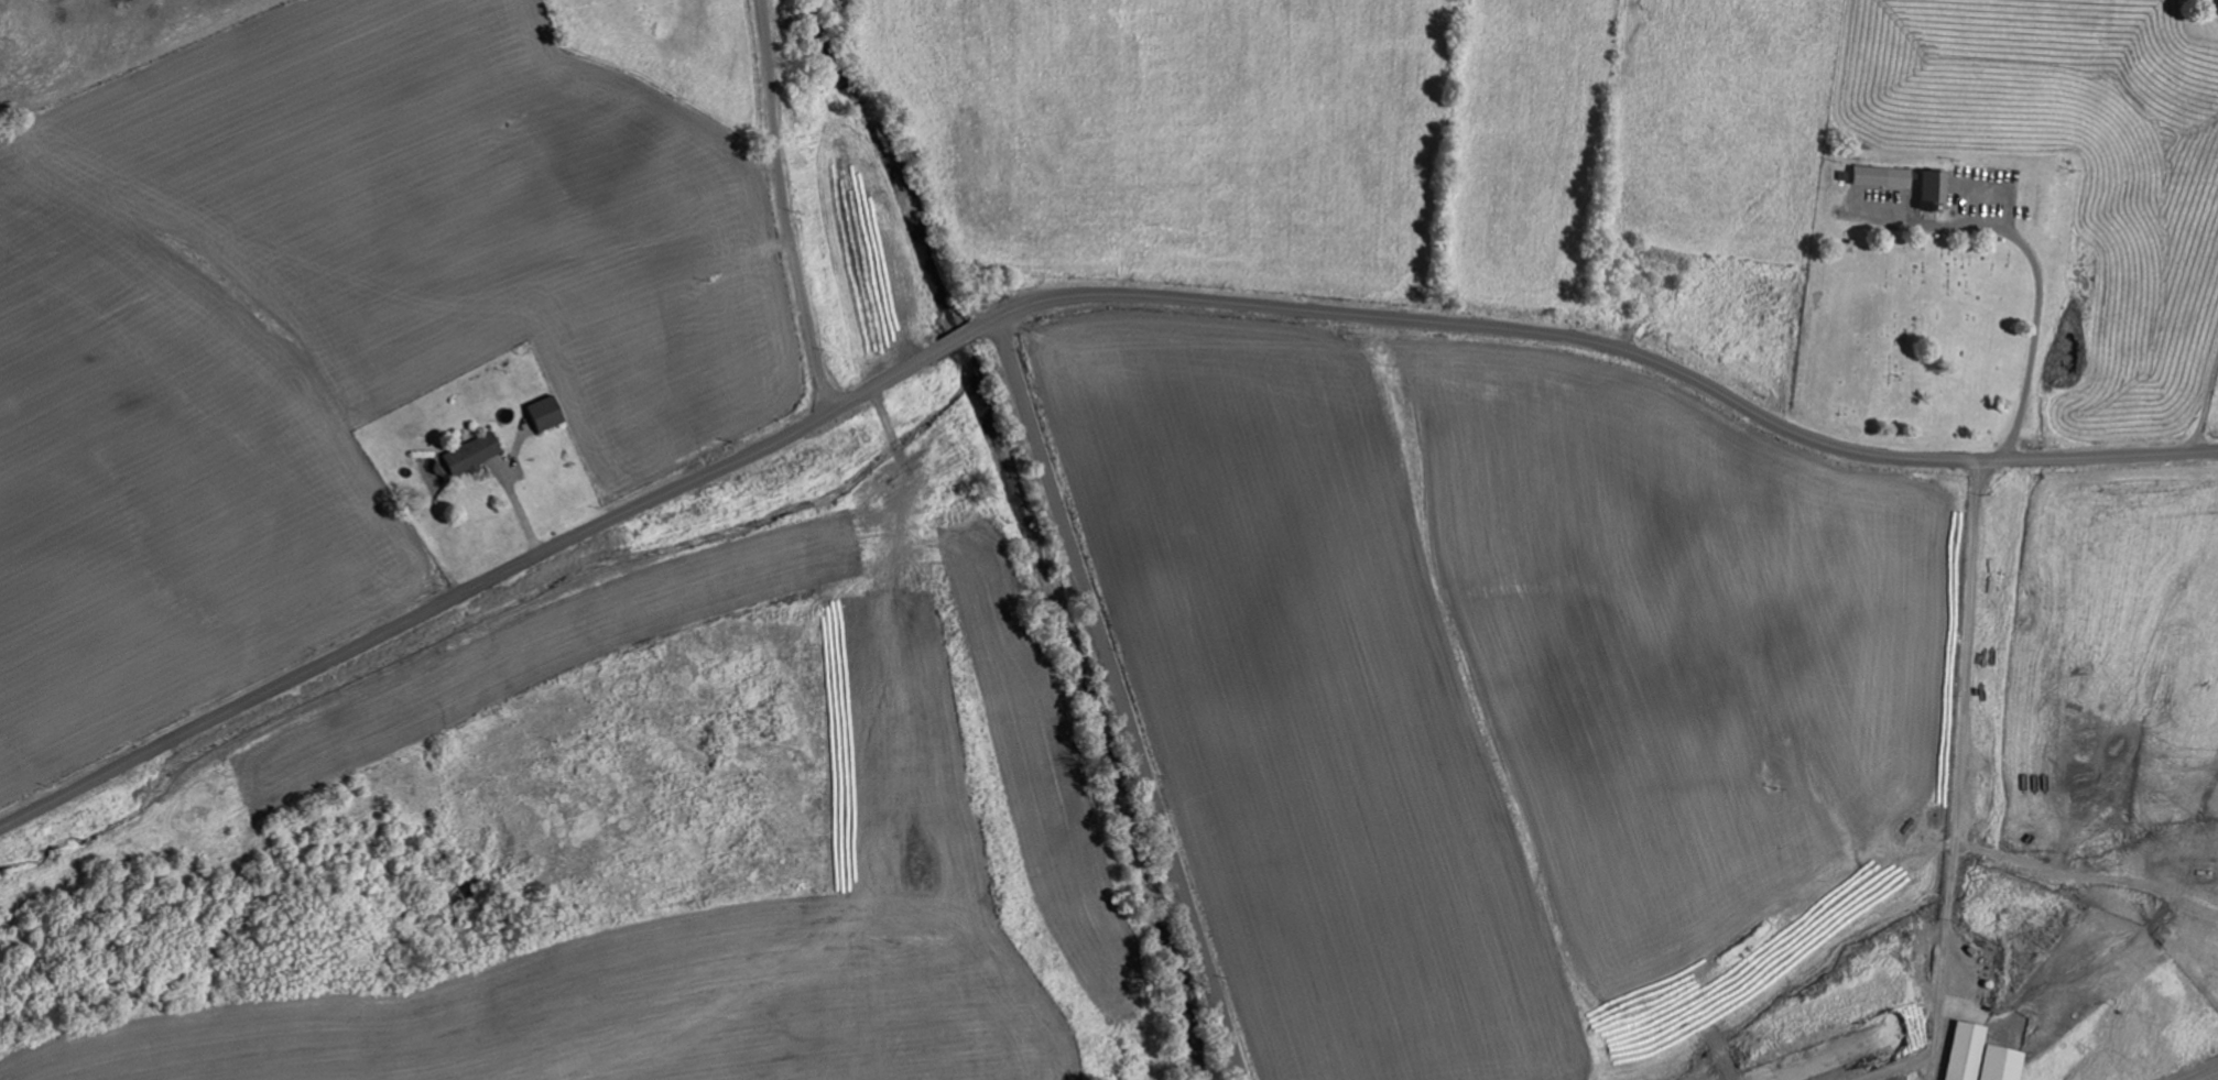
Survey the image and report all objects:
building: (1882, 175)
building: (1933, 188)
road: (782, 208)
road: (1059, 299)
road: (2187, 354)
building: (542, 412)
building: (468, 454)
road: (1947, 631)
road: (1126, 699)
building: (1978, 1056)

